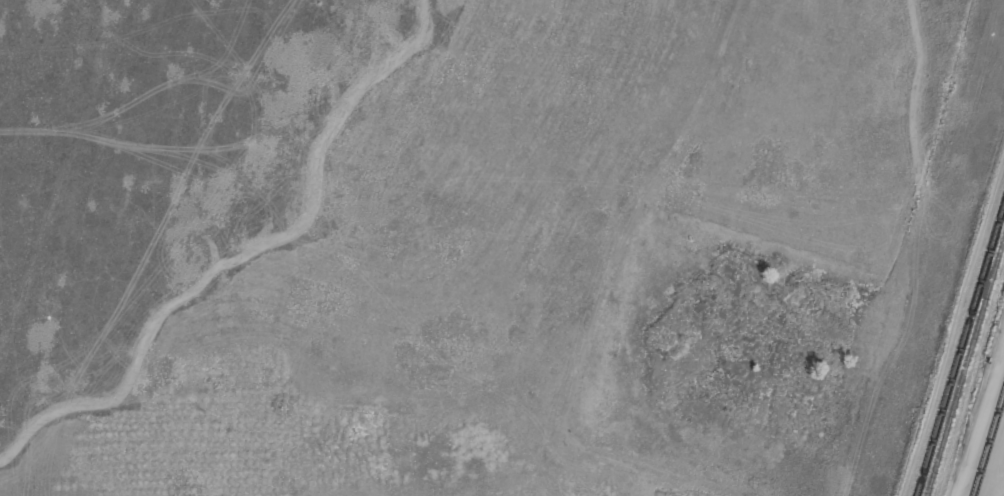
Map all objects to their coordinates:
railway: (960, 351)
railway: (965, 366)
railway: (988, 445)

